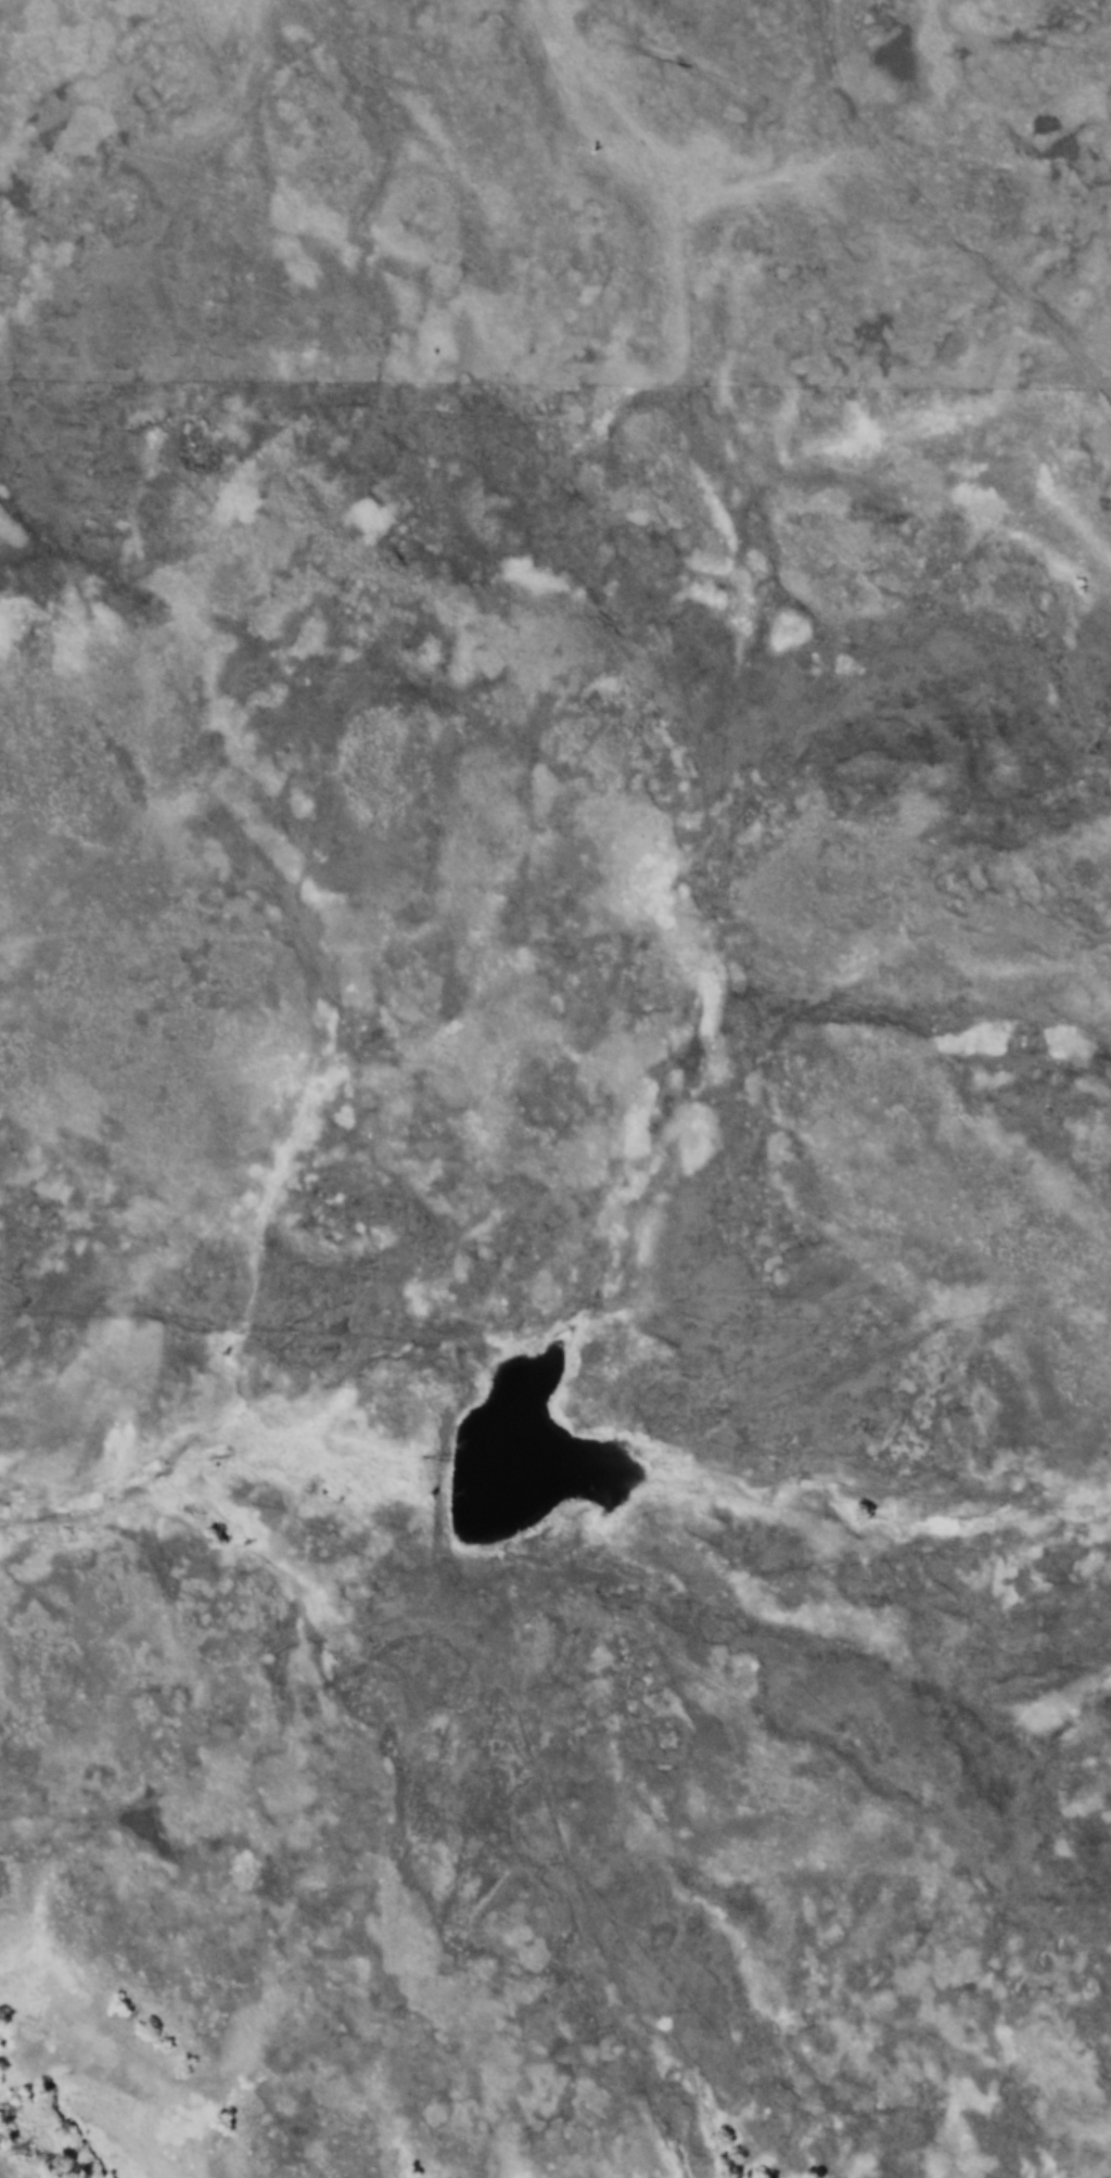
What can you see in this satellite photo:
road: (935, 212)

